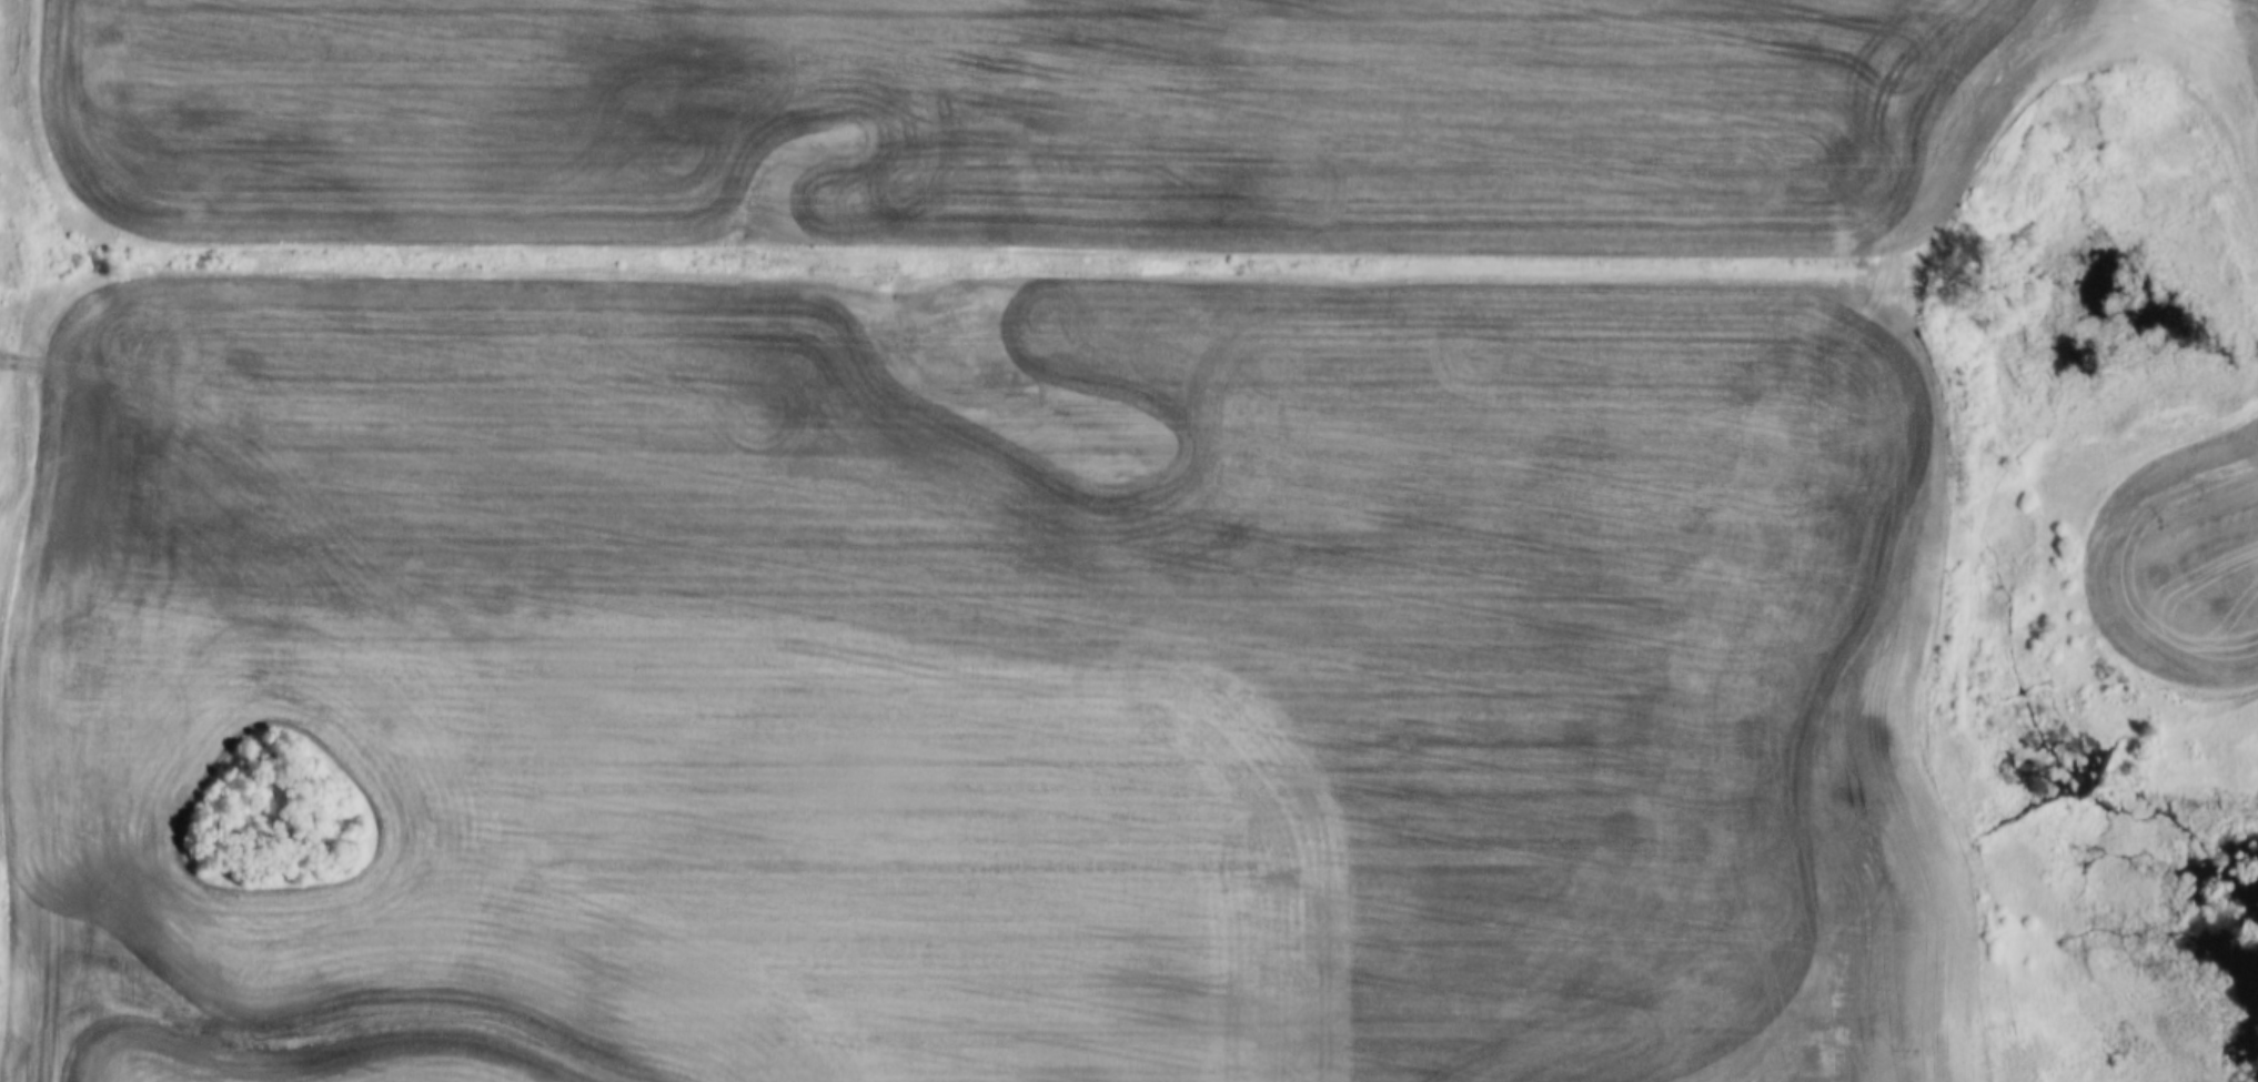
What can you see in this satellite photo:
road: (9, 307)

